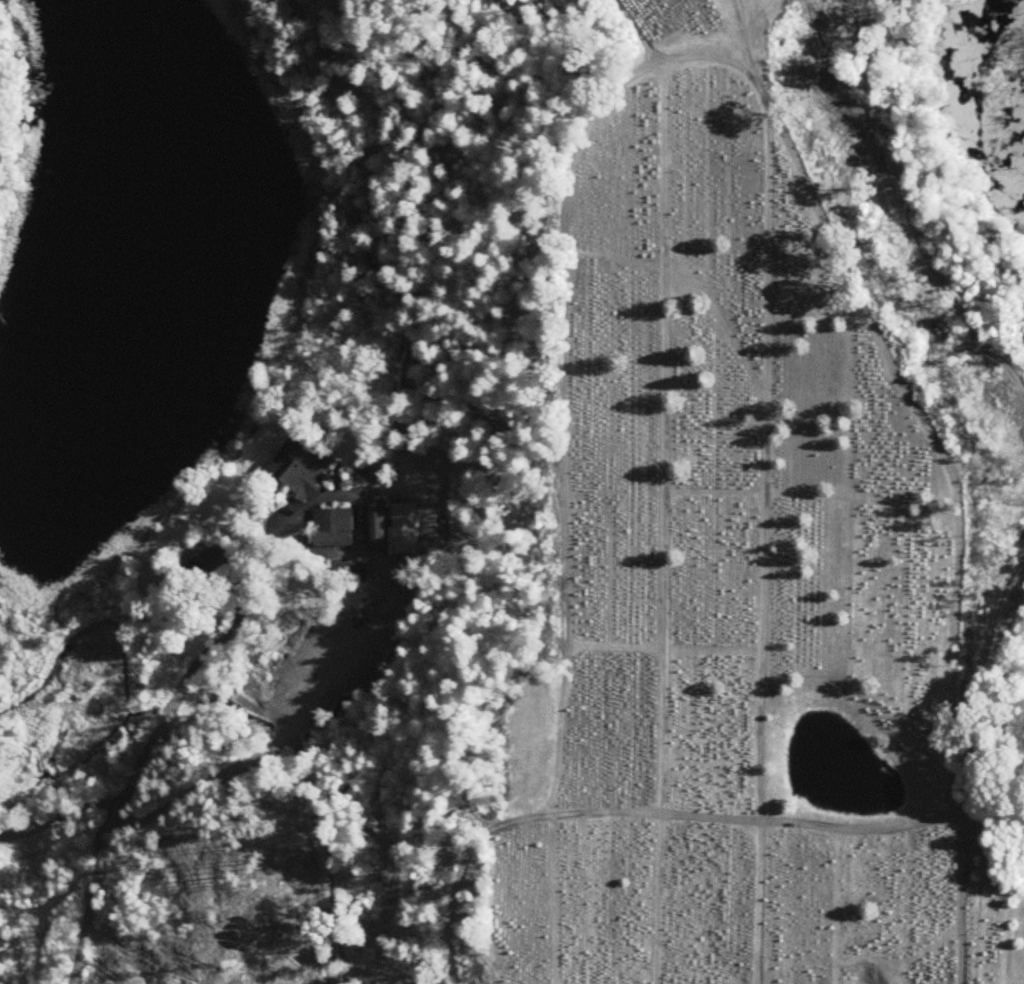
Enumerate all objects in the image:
building: (304, 468)
building: (335, 527)
building: (218, 557)
road: (149, 748)
road: (267, 754)
road: (63, 818)

